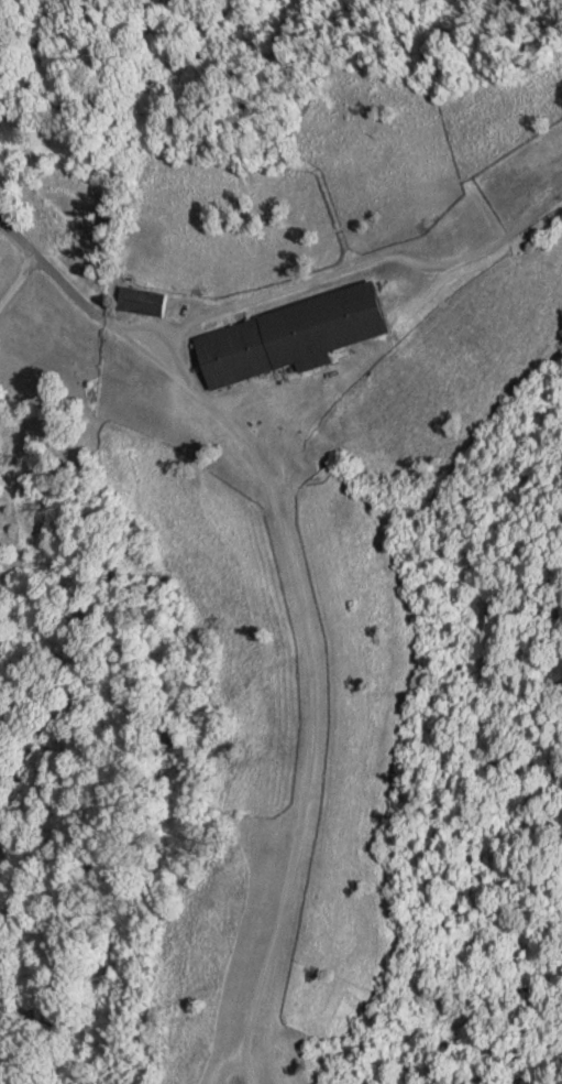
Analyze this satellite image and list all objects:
road: (31, 260)
building: (289, 335)

